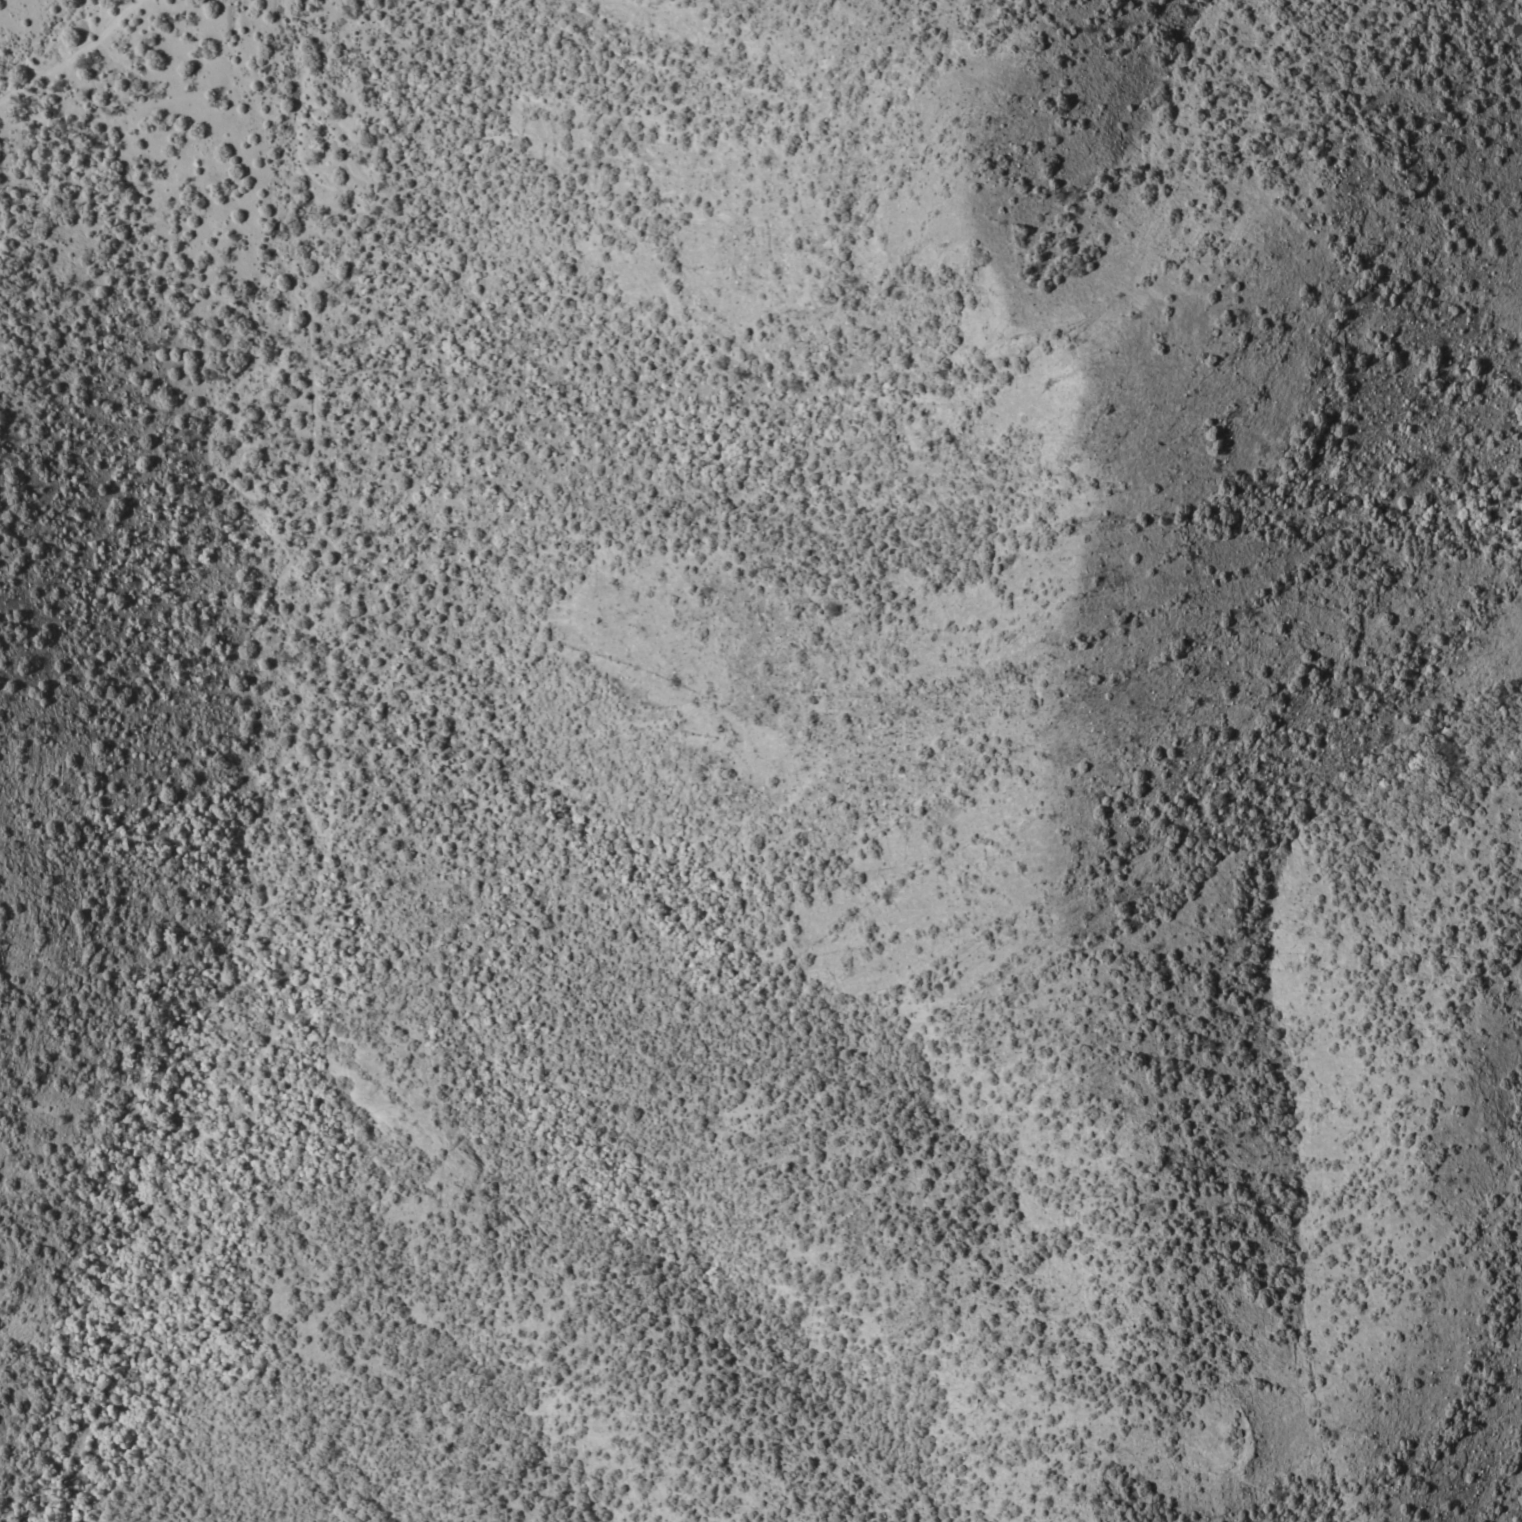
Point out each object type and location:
road: (68, 52)

